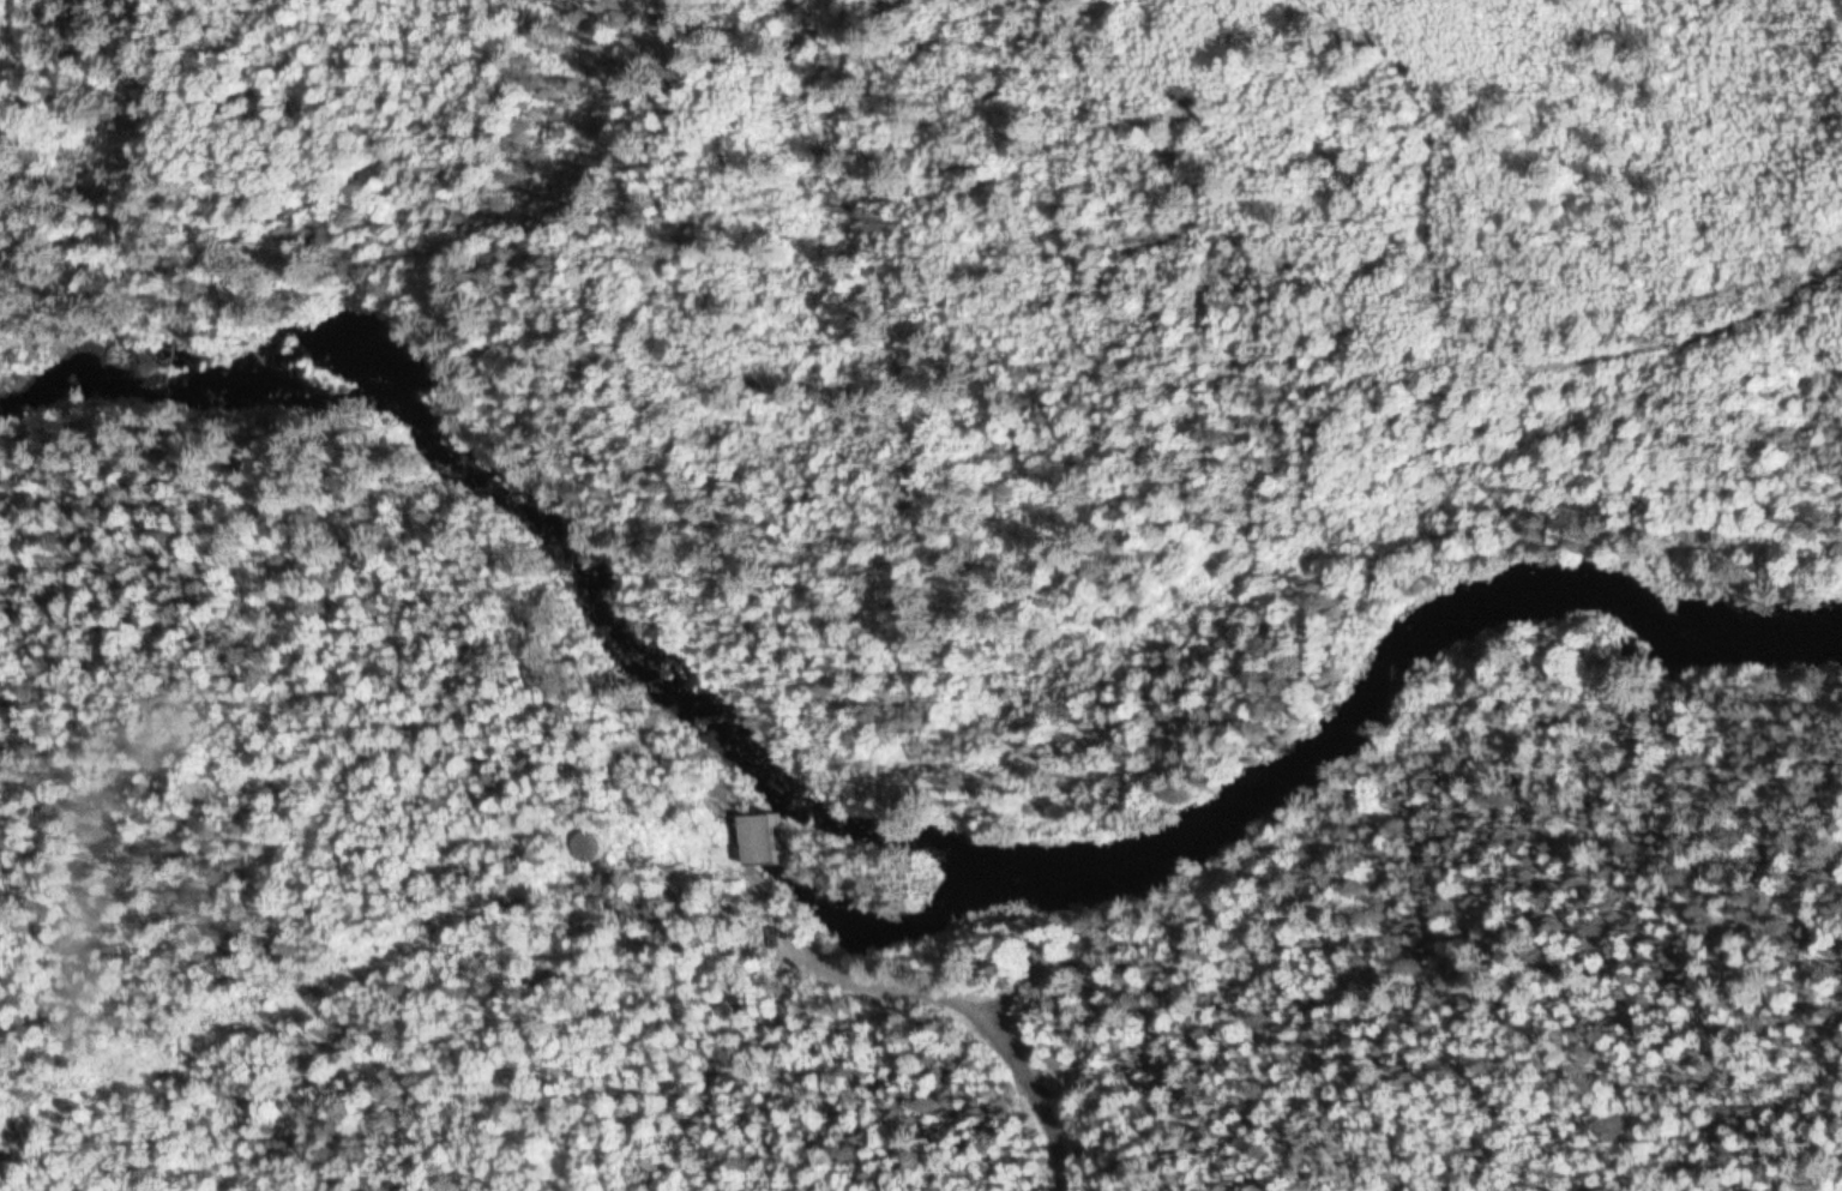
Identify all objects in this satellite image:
road: (1471, 303)
building: (756, 836)
building: (586, 846)
river: (871, 886)
road: (1003, 1035)

